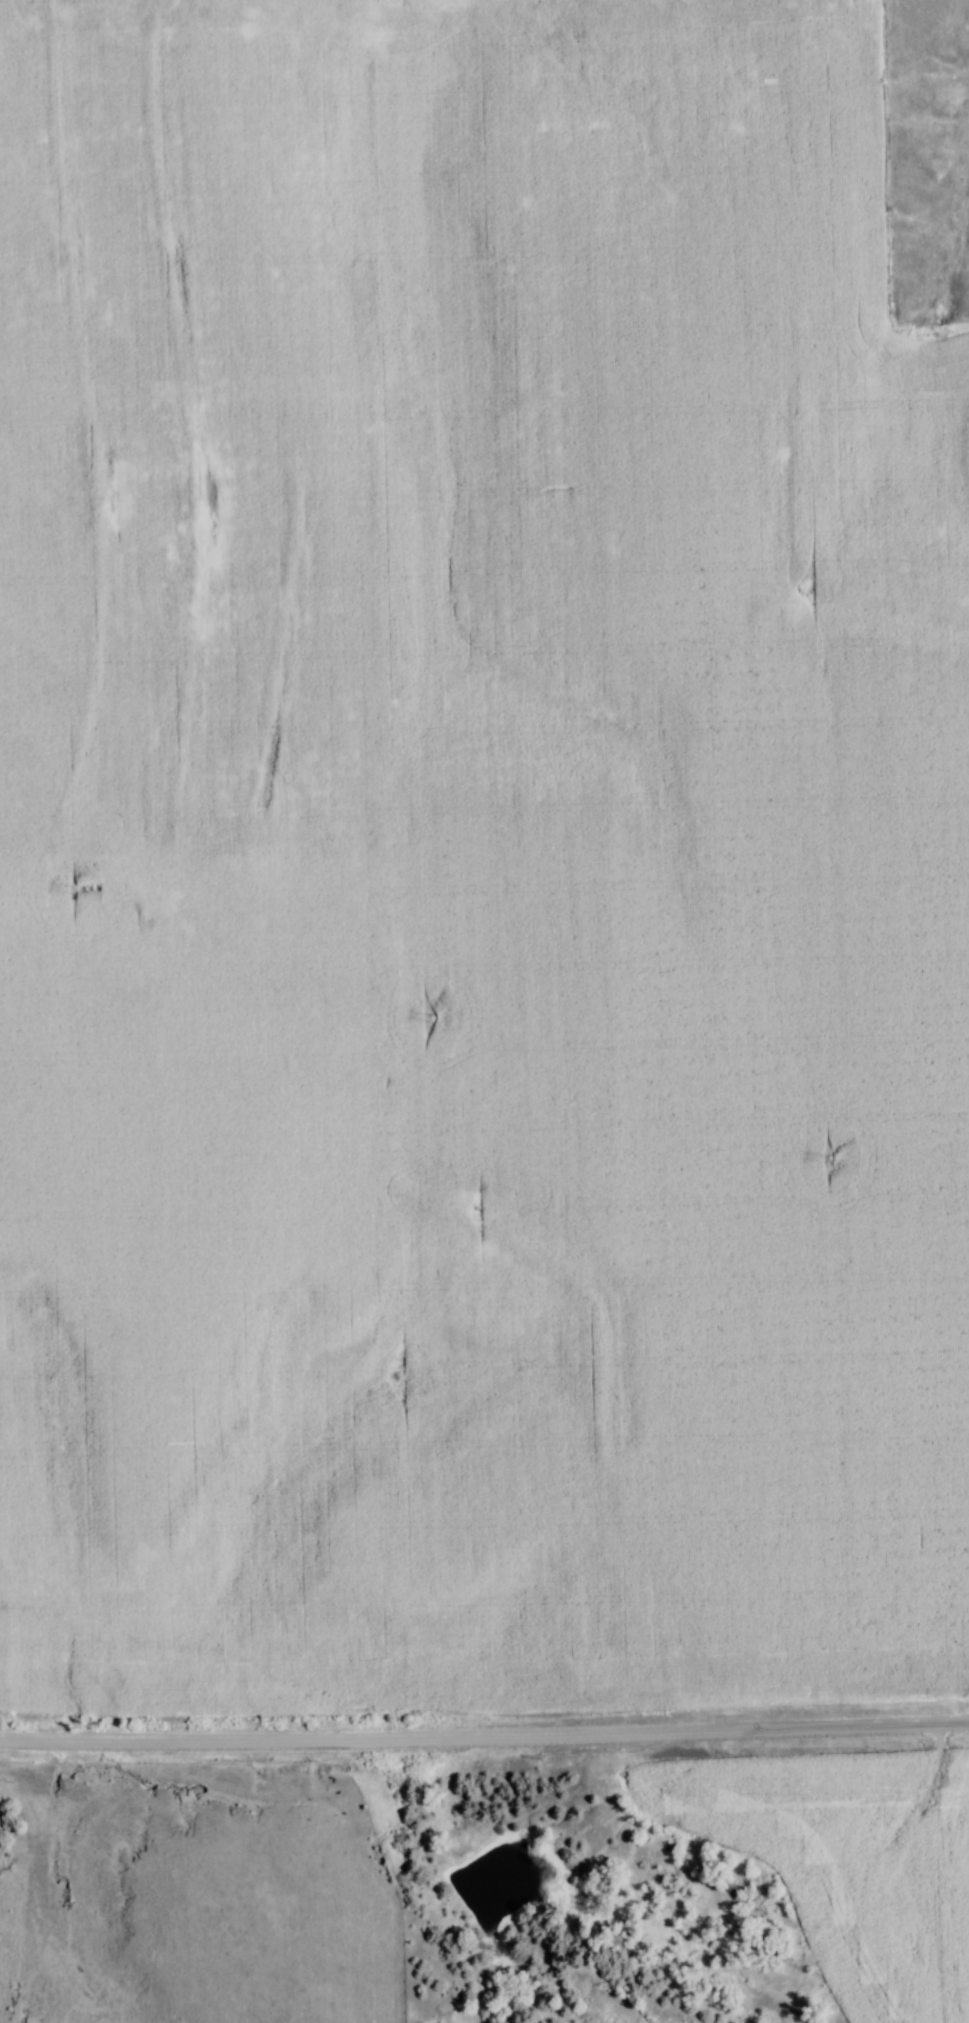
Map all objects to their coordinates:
road: (484, 1728)

